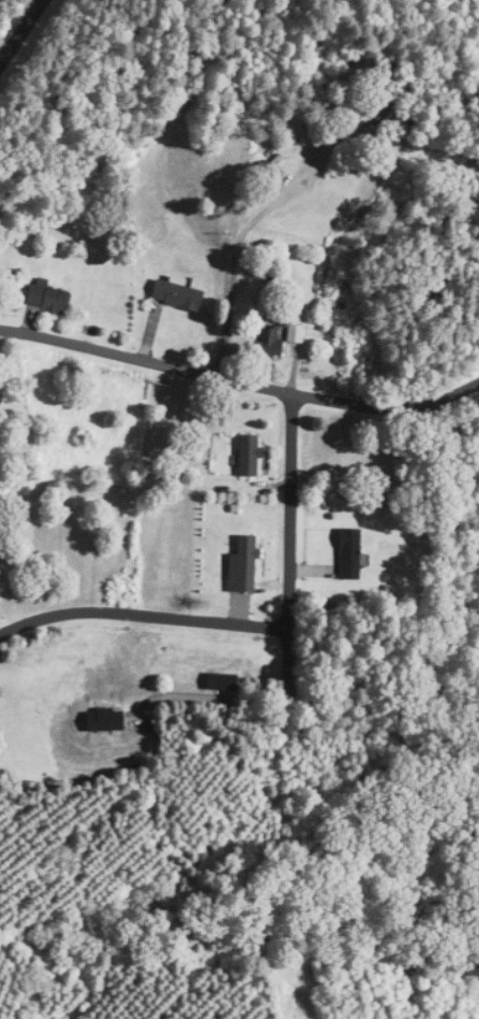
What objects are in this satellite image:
road: (21, 31)
building: (379, 107)
building: (275, 164)
road: (241, 231)
building: (178, 295)
building: (47, 296)
building: (295, 333)
building: (271, 343)
road: (240, 382)
building: (0, 408)
building: (249, 455)
road: (290, 549)
building: (350, 553)
building: (248, 556)
road: (142, 614)

